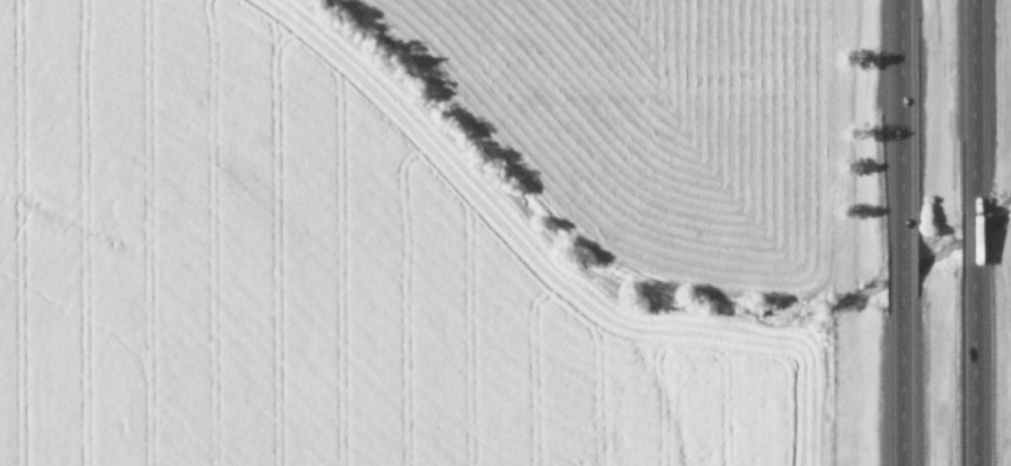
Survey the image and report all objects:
road: (969, 99)
road: (899, 104)
crop: (421, 233)
road: (972, 244)
road: (900, 264)
road: (974, 377)
road: (900, 393)

